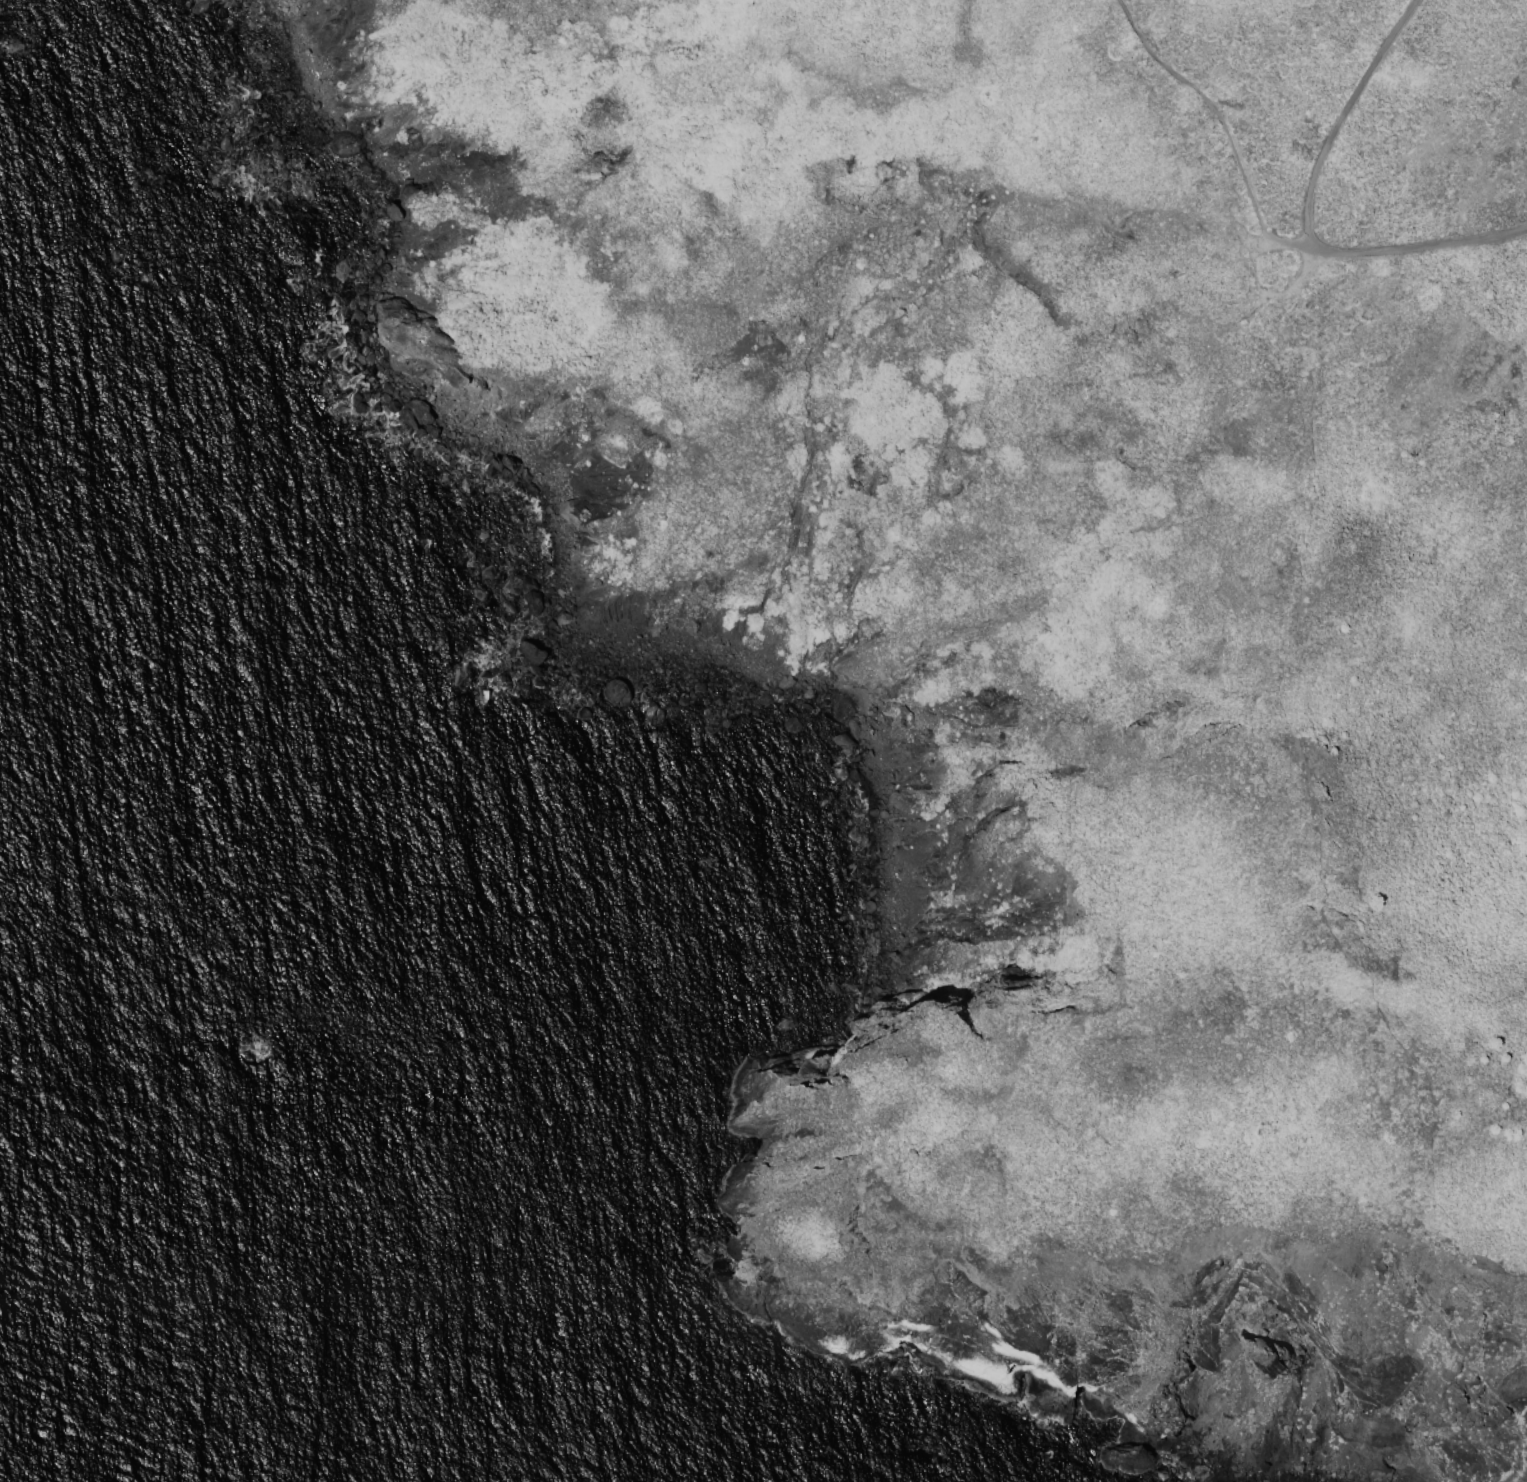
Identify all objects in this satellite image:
road: (1343, 117)
road: (1224, 127)
road: (1423, 246)
road: (1257, 308)
road: (1314, 799)

